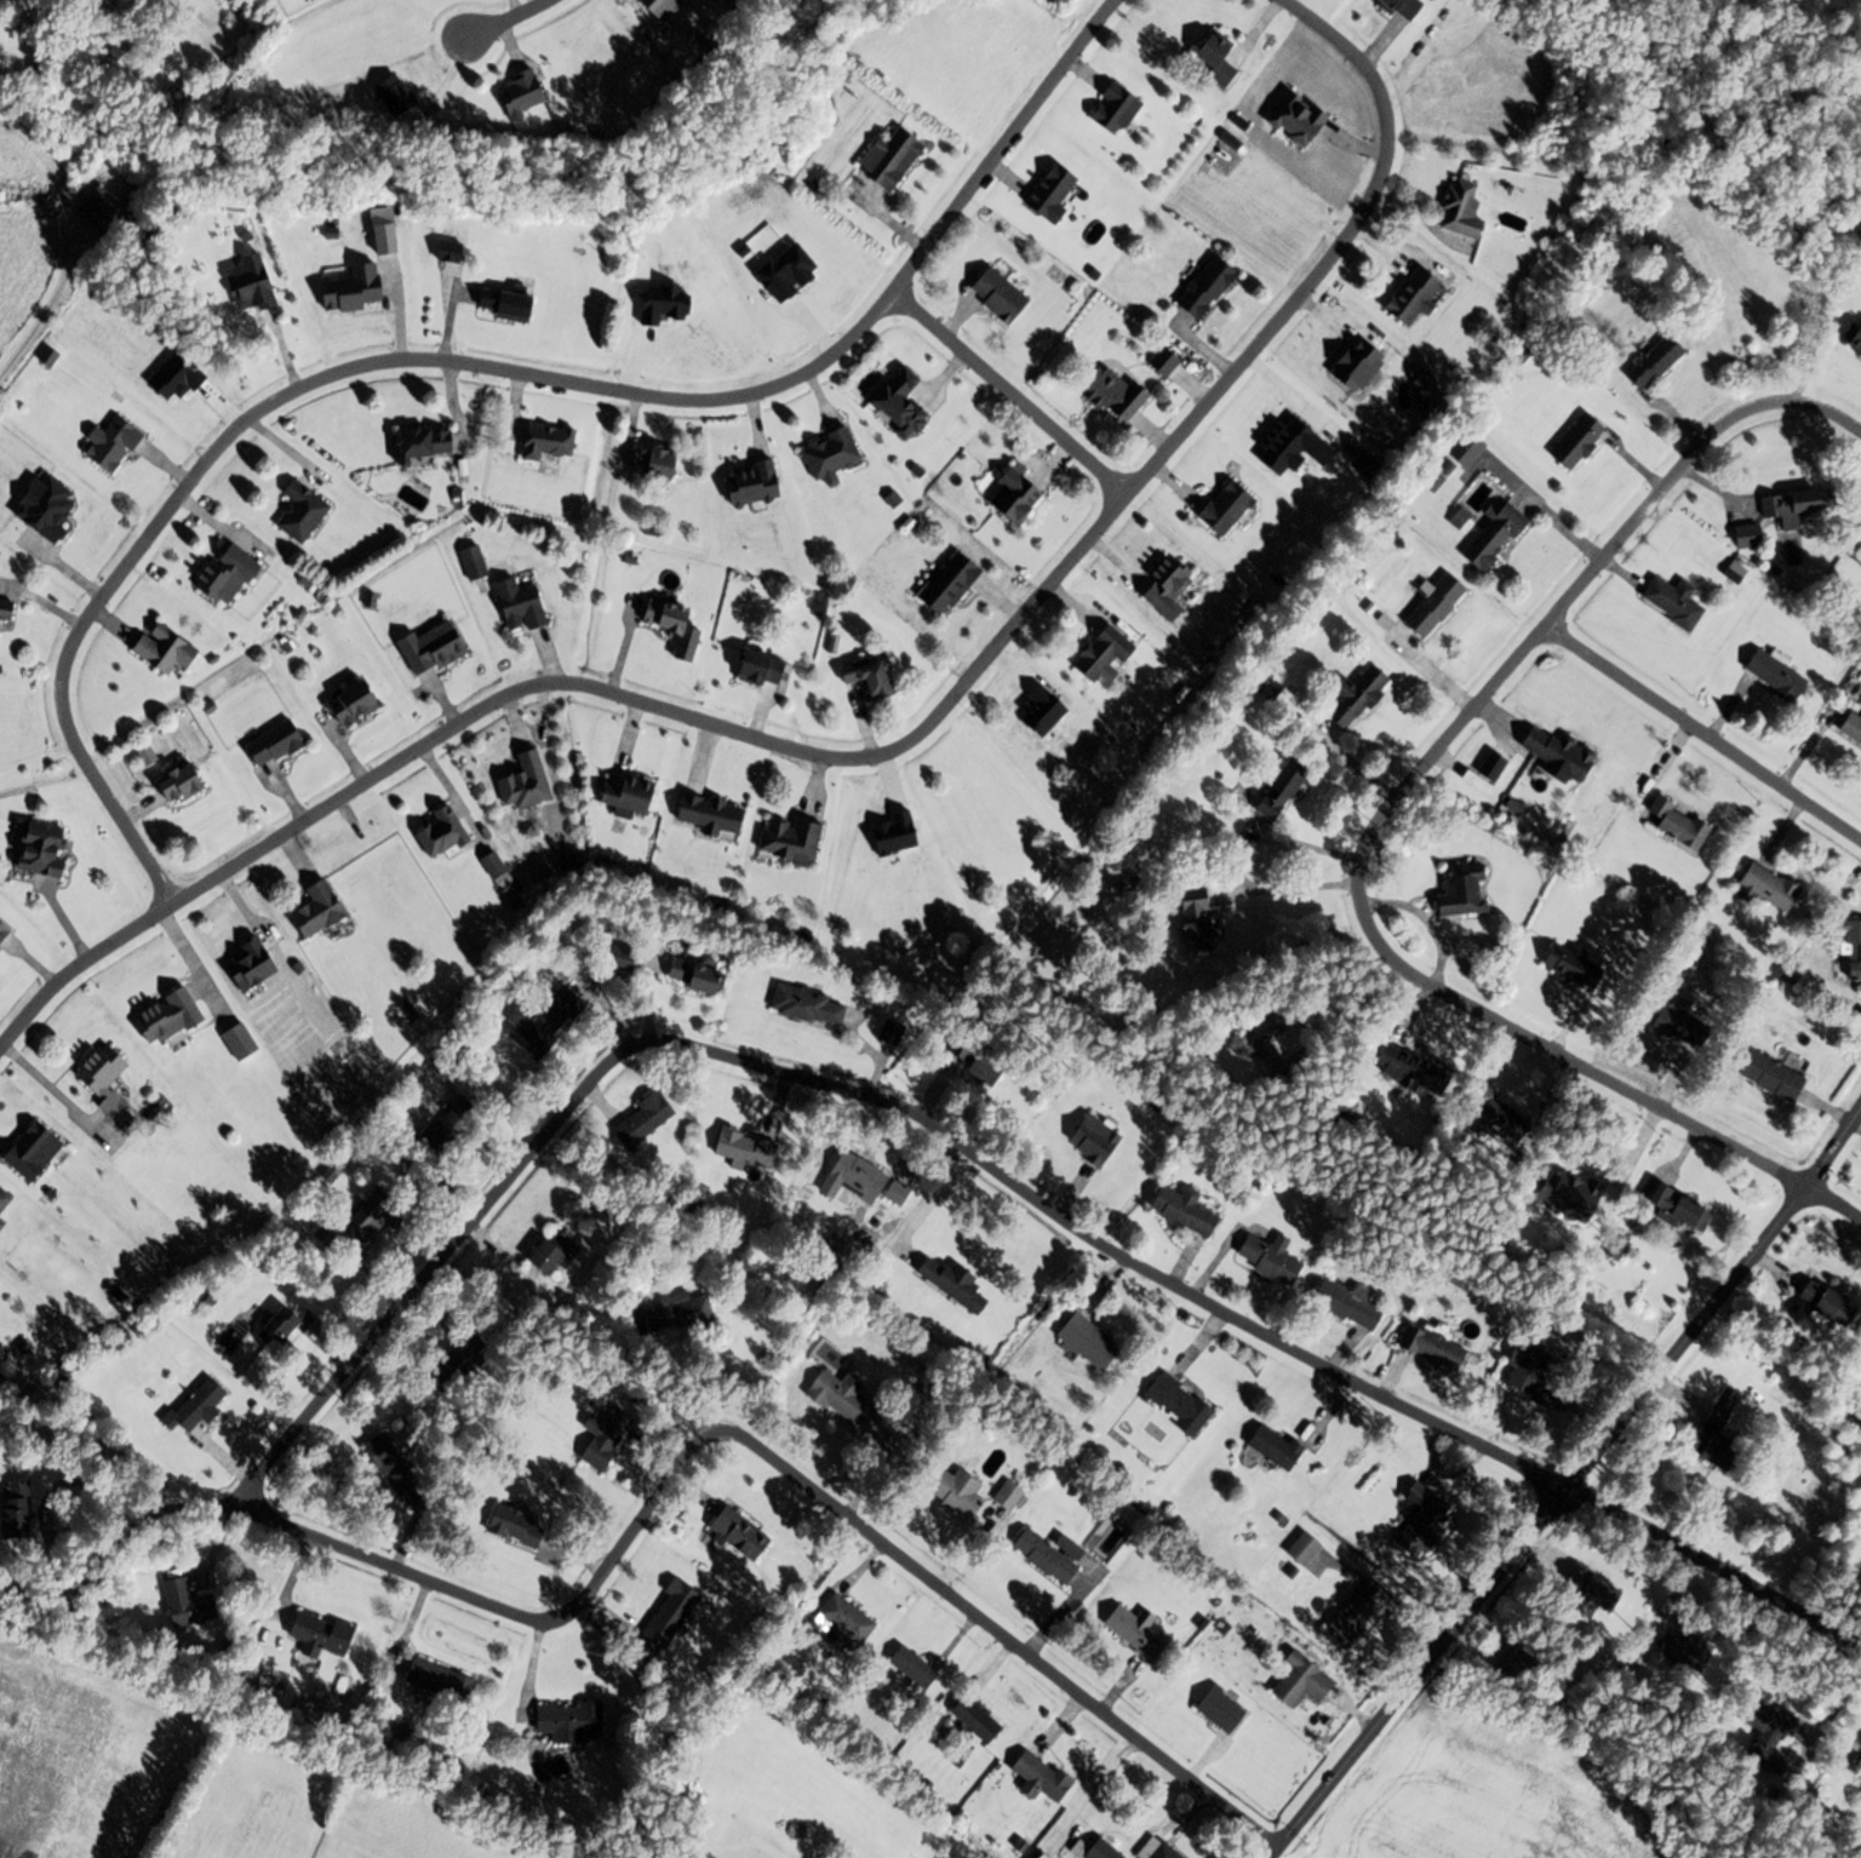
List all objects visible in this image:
building: (664, 7)
building: (1396, 7)
road: (499, 21)
building: (1220, 57)
building: (44, 75)
building: (525, 93)
building: (1118, 109)
building: (1290, 119)
building: (895, 157)
building: (1057, 190)
building: (102, 205)
building: (1455, 211)
building: (253, 283)
building: (1210, 287)
building: (1003, 296)
building: (1405, 297)
building: (510, 303)
building: (1851, 339)
building: (1167, 361)
road: (480, 362)
building: (1648, 363)
road: (1009, 388)
building: (1117, 392)
building: (904, 402)
building: (551, 442)
building: (1570, 442)
building: (430, 443)
building: (115, 445)
building: (1461, 449)
building: (834, 454)
building: (659, 461)
building: (755, 484)
building: (1023, 493)
building: (1229, 506)
building: (1783, 507)
building: (304, 512)
building: (1488, 535)
building: (1745, 535)
building: (476, 563)
building: (230, 574)
building: (955, 583)
building: (1170, 587)
building: (1670, 603)
building: (522, 604)
building: (1428, 607)
building: (7, 613)
building: (671, 615)
building: (436, 648)
building: (168, 649)
building: (1105, 658)
building: (766, 667)
building: (872, 676)
building: (1769, 676)
road: (957, 684)
building: (1350, 696)
building: (357, 704)
building: (1287, 704)
road: (1703, 724)
building: (1848, 730)
building: (277, 744)
building: (1552, 753)
building: (528, 782)
building: (185, 784)
building: (1271, 791)
building: (632, 796)
road: (1390, 797)
building: (714, 815)
building: (1670, 824)
building: (445, 833)
building: (794, 839)
building: (46, 848)
building: (496, 865)
road: (1300, 884)
building: (1763, 887)
building: (1455, 893)
building: (321, 911)
building: (1189, 921)
building: (5, 931)
building: (1848, 948)
road: (80, 964)
building: (254, 965)
building: (1567, 967)
building: (698, 975)
building: (802, 1007)
building: (171, 1017)
building: (539, 1017)
building: (1661, 1021)
building: (1259, 1032)
building: (886, 1034)
building: (241, 1042)
building: (1403, 1070)
building: (1764, 1077)
building: (109, 1082)
road: (848, 1088)
building: (1485, 1117)
building: (646, 1119)
building: (1087, 1142)
building: (738, 1149)
building: (36, 1151)
building: (861, 1175)
building: (892, 1194)
building: (1564, 1195)
building: (5, 1200)
road: (1834, 1202)
road: (927, 1204)
building: (1672, 1210)
building: (1176, 1211)
building: (367, 1220)
building: (556, 1252)
building: (1264, 1258)
building: (946, 1284)
building: (1342, 1304)
building: (1819, 1304)
building: (680, 1313)
building: (287, 1325)
building: (1080, 1341)
building: (1426, 1349)
building: (466, 1358)
building: (1521, 1370)
building: (837, 1401)
building: (1172, 1404)
building: (200, 1406)
building: (1710, 1429)
building: (608, 1438)
building: (1269, 1449)
road: (762, 1452)
building: (394, 1464)
road: (1571, 1486)
building: (950, 1493)
building: (1002, 1498)
road: (197, 1506)
building: (19, 1510)
building: (1416, 1521)
building: (519, 1527)
building: (741, 1535)
building: (1043, 1555)
road: (1716, 1573)
building: (1585, 1589)
building: (190, 1605)
building: (674, 1613)
building: (837, 1624)
building: (1128, 1634)
building: (323, 1635)
building: (0, 1641)
building: (1676, 1647)
building: (907, 1668)
building: (443, 1680)
building: (16, 1685)
building: (1287, 1691)
building: (1214, 1710)
building: (966, 1716)
building: (572, 1720)
building: (76, 1727)
building: (1763, 1736)
building: (1036, 1777)
building: (1859, 1779)
building: (61, 1794)
building: (48, 1850)
building: (1151, 1850)
building: (1094, 1851)

